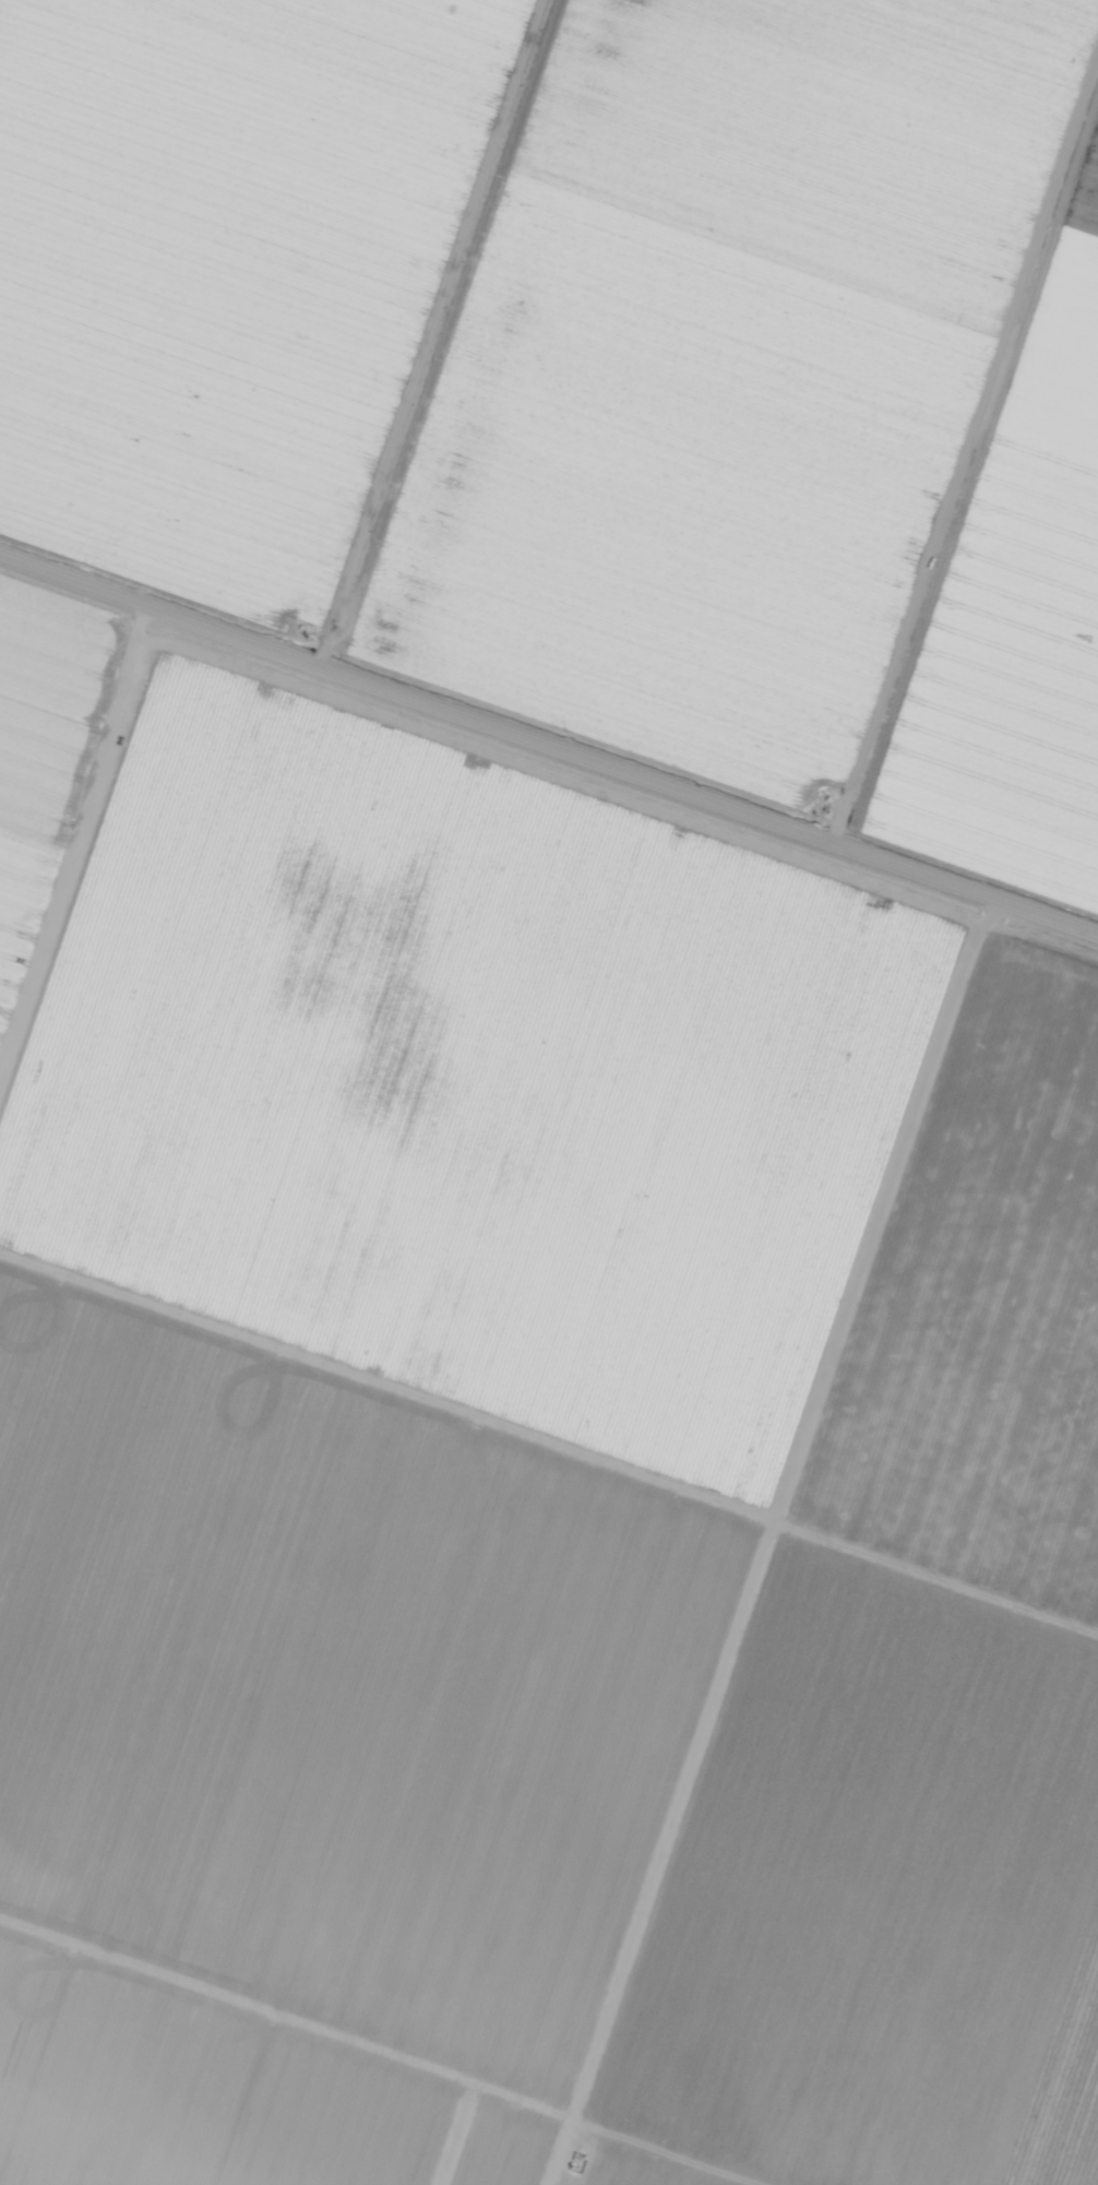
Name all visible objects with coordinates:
crop: (226, 277)
crop: (723, 372)
crop: (1014, 609)
crop: (45, 746)
road: (549, 751)
crop: (467, 1080)
crop: (987, 1313)
crop: (337, 1691)
crop: (880, 1901)
crop: (222, 2094)
crop: (626, 2166)

